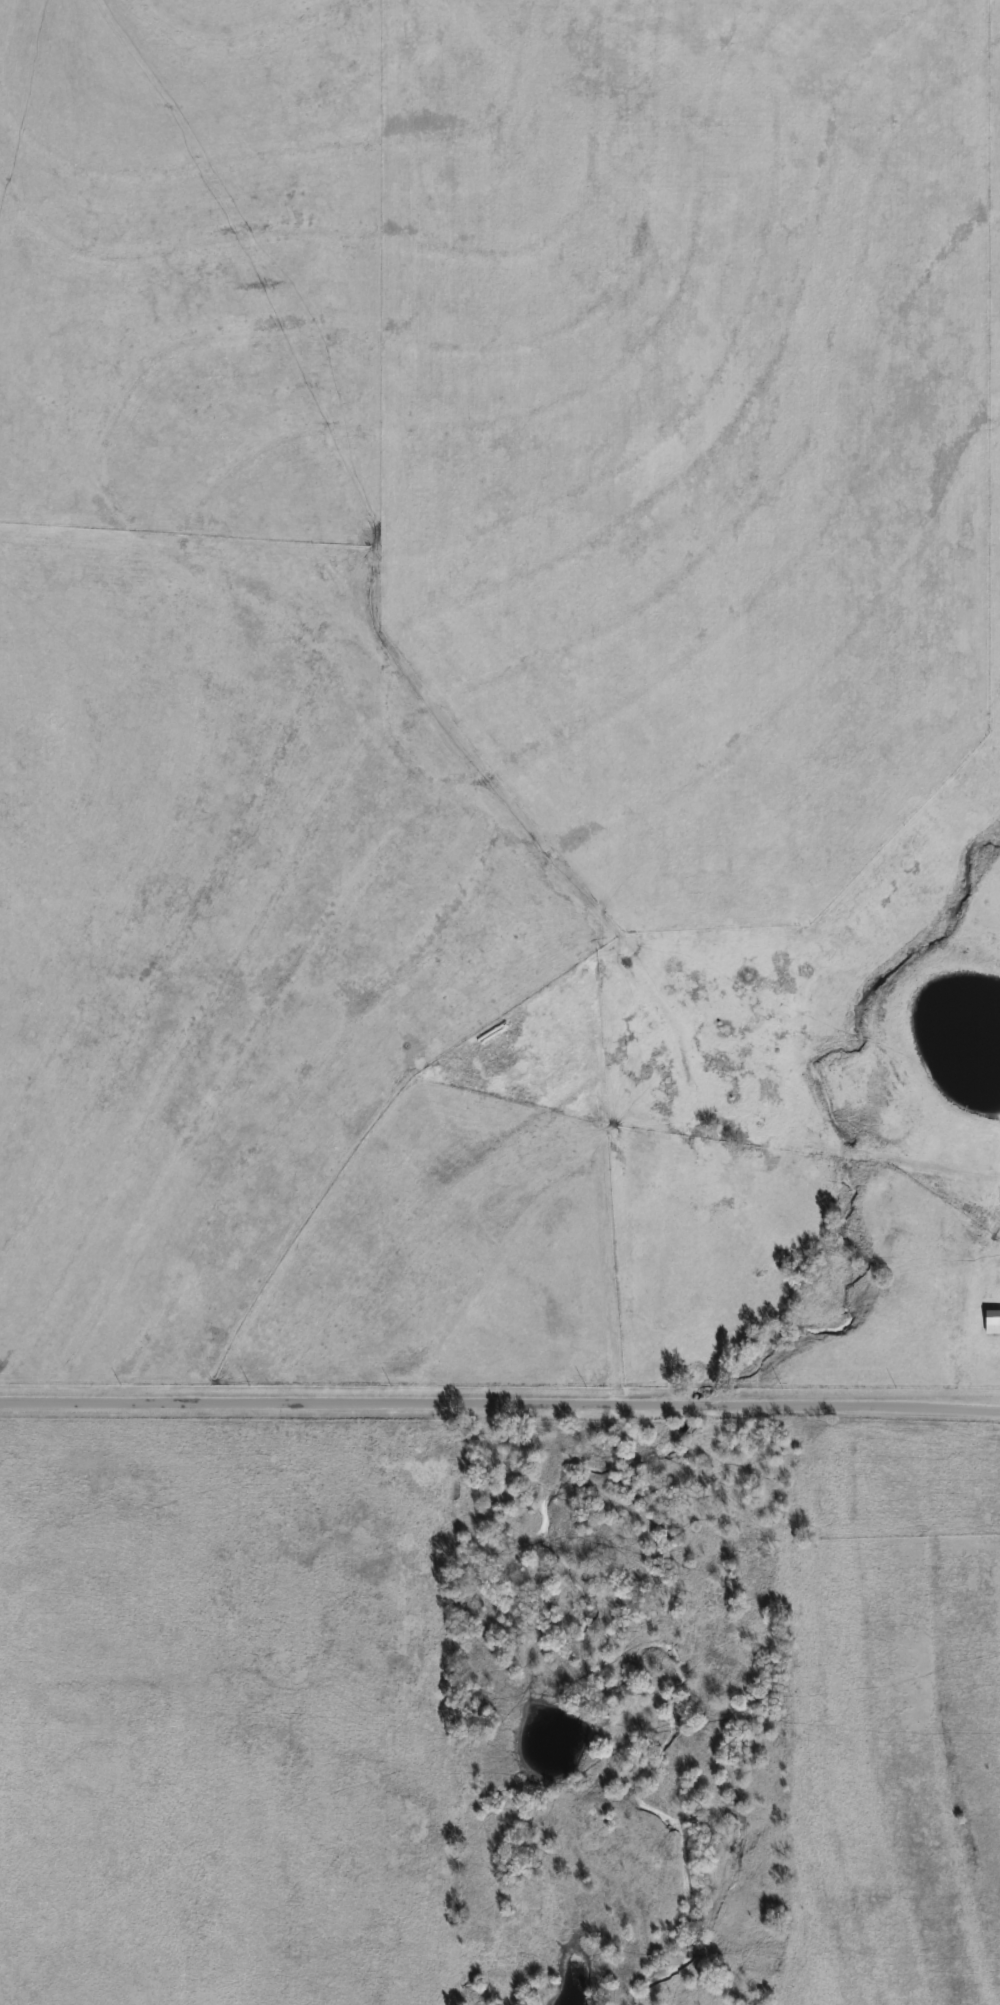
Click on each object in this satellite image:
building: (992, 1322)
road: (500, 1404)

